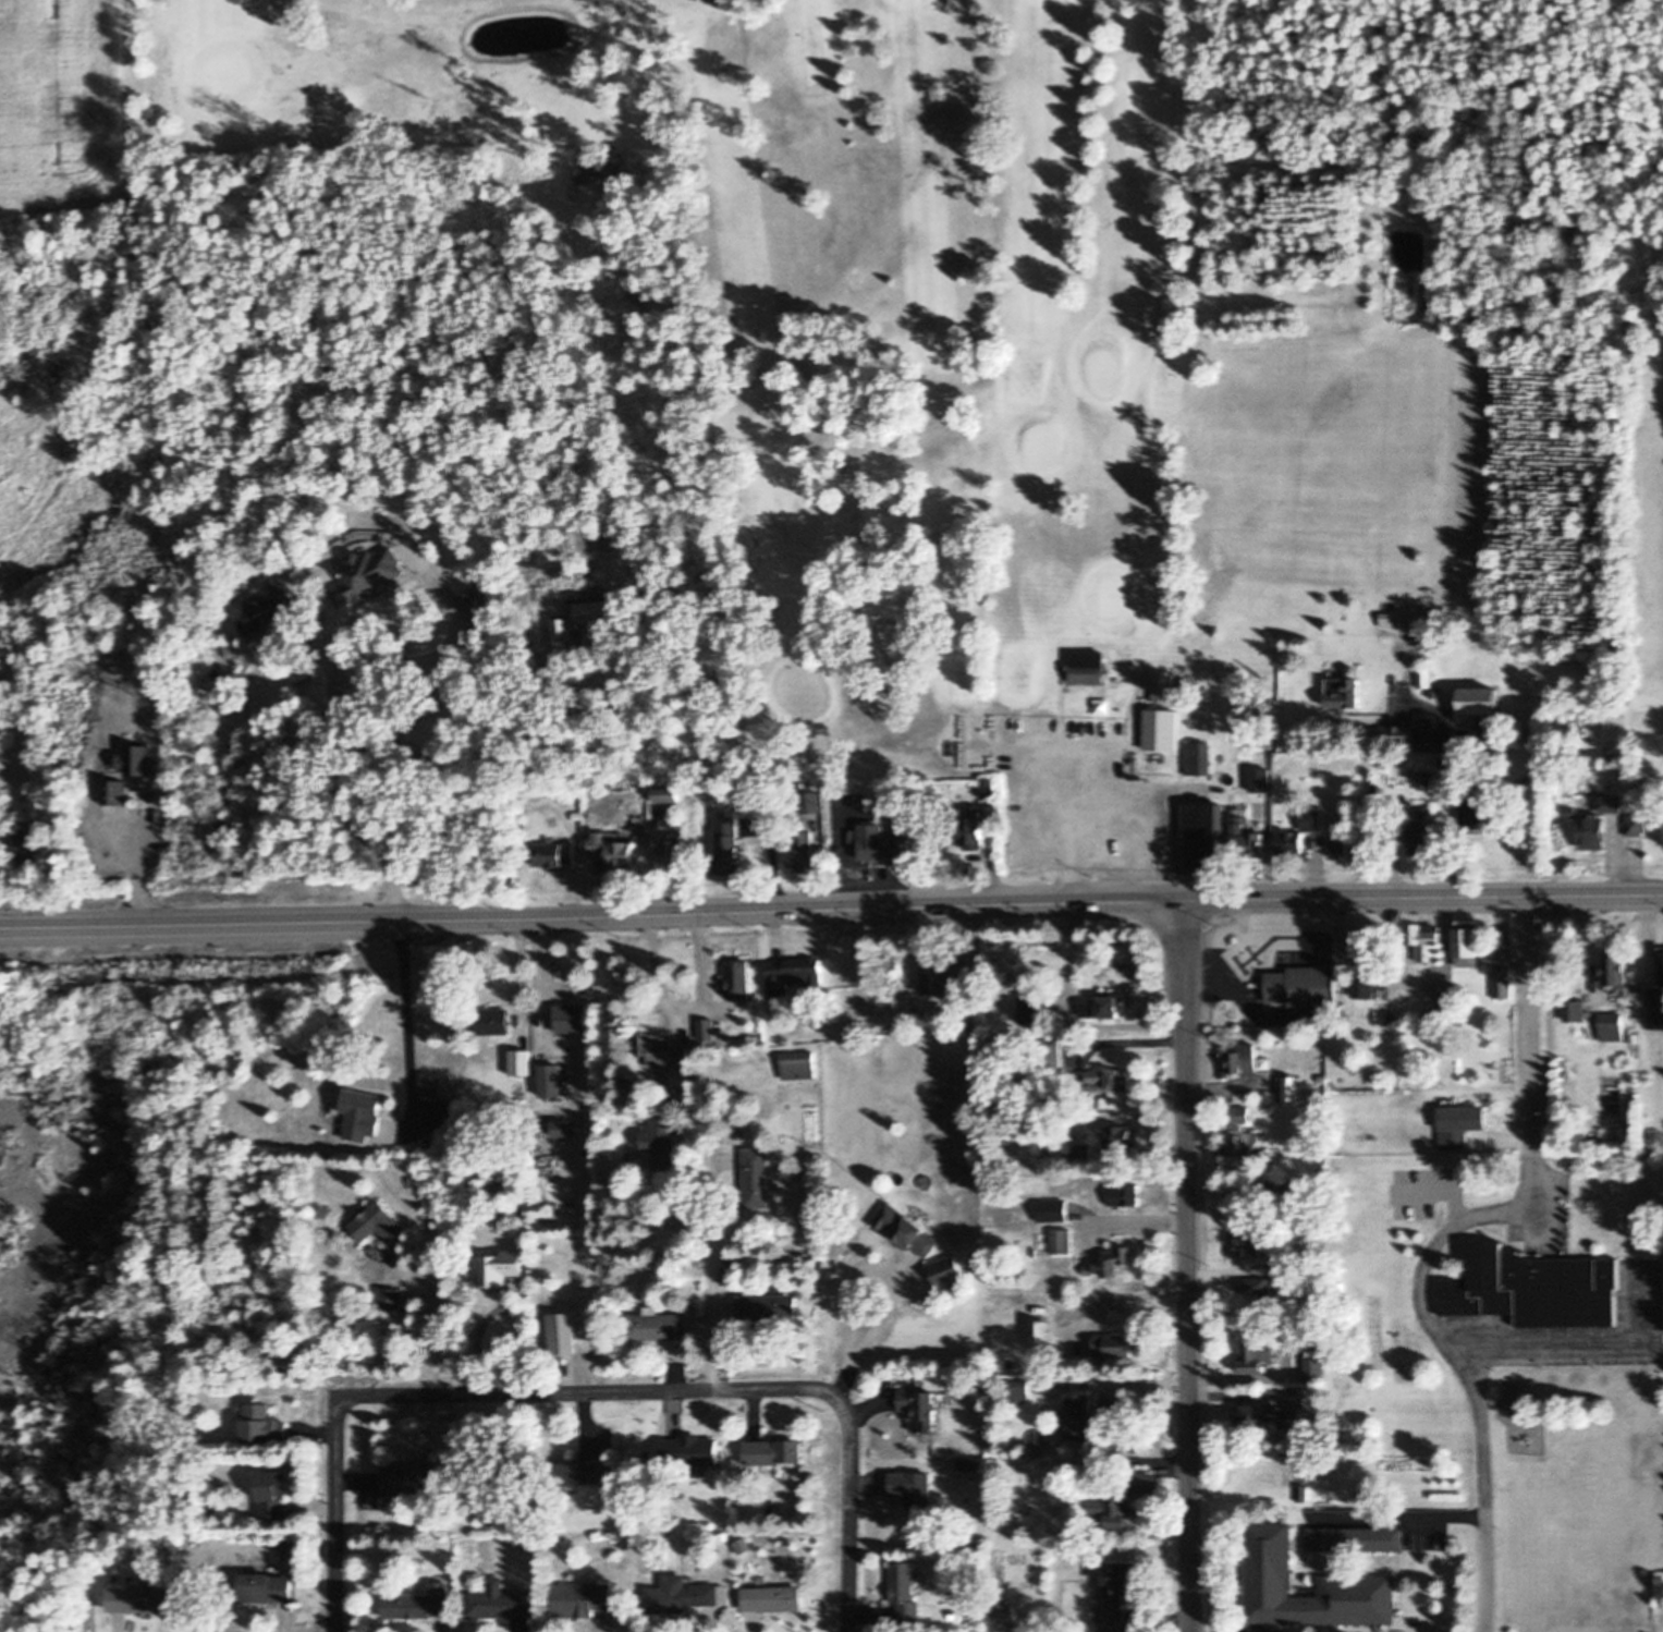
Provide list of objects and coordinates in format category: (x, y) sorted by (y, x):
building: (1409, 231)
park: (855, 333)
building: (25, 489)
building: (372, 575)
building: (477, 604)
road: (450, 608)
building: (267, 610)
building: (580, 619)
building: (1652, 628)
building: (1089, 666)
building: (1354, 670)
building: (210, 681)
building: (1427, 681)
building: (1163, 685)
building: (1344, 694)
building: (209, 698)
building: (1479, 699)
building: (228, 711)
road: (326, 722)
building: (1166, 727)
building: (1397, 732)
building: (1426, 735)
building: (198, 752)
building: (1198, 757)
building: (136, 759)
building: (970, 759)
building: (1421, 778)
road: (1459, 781)
building: (989, 788)
building: (115, 791)
building: (667, 793)
building: (792, 793)
building: (152, 794)
building: (810, 801)
building: (1611, 803)
building: (1587, 804)
building: (1485, 811)
building: (1593, 813)
building: (623, 817)
building: (1312, 819)
building: (707, 823)
building: (1636, 824)
road: (1099, 825)
building: (973, 829)
building: (1593, 832)
building: (1206, 838)
building: (1247, 838)
building: (1419, 838)
building: (888, 841)
building: (1291, 842)
building: (1342, 844)
building: (23, 845)
building: (731, 845)
building: (613, 849)
building: (803, 851)
building: (554, 853)
building: (669, 854)
road: (134, 867)
building: (671, 868)
road: (944, 908)
road: (112, 926)
building: (1426, 939)
building: (1371, 946)
building: (1467, 946)
building: (999, 954)
building: (1661, 963)
building: (1616, 969)
building: (793, 974)
building: (739, 977)
building: (944, 979)
building: (1502, 983)
building: (1365, 984)
building: (1303, 985)
building: (1612, 986)
building: (1643, 995)
building: (1030, 1004)
building: (1654, 1004)
road: (677, 1006)
building: (1101, 1007)
building: (1575, 1007)
building: (1446, 1008)
building: (966, 1015)
building: (572, 1018)
building: (1391, 1018)
building: (493, 1021)
road: (409, 1022)
building: (1462, 1024)
building: (1613, 1026)
building: (707, 1028)
building: (875, 1028)
road: (1129, 1036)
building: (1634, 1038)
building: (998, 1039)
building: (662, 1049)
building: (1624, 1049)
building: (1050, 1051)
building: (1243, 1059)
building: (519, 1060)
building: (798, 1064)
building: (1265, 1064)
building: (591, 1068)
building: (1607, 1070)
building: (1111, 1077)
building: (1322, 1077)
building: (551, 1080)
building: (1087, 1083)
building: (432, 1084)
building: (1289, 1087)
building: (1445, 1100)
building: (344, 1105)
building: (365, 1112)
building: (1242, 1115)
building: (1591, 1115)
building: (704, 1116)
building: (1602, 1119)
building: (1460, 1122)
building: (1597, 1125)
building: (561, 1128)
building: (741, 1132)
building: (1122, 1136)
building: (429, 1142)
building: (661, 1142)
building: (1238, 1152)
building: (1084, 1153)
building: (967, 1169)
building: (756, 1177)
building: (773, 1184)
building: (217, 1189)
building: (1282, 1190)
building: (1125, 1194)
building: (514, 1209)
building: (1053, 1209)
building: (918, 1213)
road: (1139, 1215)
building: (376, 1223)
building: (907, 1228)
building: (340, 1231)
building: (1044, 1240)
building: (1063, 1241)
building: (1247, 1242)
road: (1439, 1242)
building: (1036, 1252)
building: (1110, 1260)
road: (1189, 1266)
building: (499, 1268)
building: (947, 1269)
road: (886, 1270)
building: (726, 1275)
road: (710, 1276)
building: (1255, 1286)
building: (1537, 1288)
building: (390, 1299)
building: (693, 1304)
building: (768, 1306)
building: (307, 1307)
road: (435, 1311)
building: (655, 1325)
building: (563, 1332)
building: (1041, 1333)
building: (1114, 1345)
building: (1257, 1354)
building: (1314, 1368)
road: (1114, 1384)
building: (1019, 1389)
road: (590, 1392)
building: (979, 1394)
building: (920, 1409)
building: (243, 1413)
building: (1080, 1415)
building: (1267, 1415)
building: (262, 1423)
building: (1037, 1438)
building: (1128, 1438)
building: (692, 1451)
building: (773, 1451)
building: (1271, 1458)
building: (969, 1463)
building: (697, 1466)
building: (790, 1467)
building: (589, 1471)
building: (413, 1478)
building: (1142, 1481)
building: (565, 1487)
building: (914, 1487)
building: (271, 1493)
building: (1303, 1493)
building: (1110, 1508)
road: (851, 1515)
road: (338, 1520)
building: (724, 1535)
building: (1355, 1538)
building: (980, 1544)
building: (744, 1545)
building: (285, 1546)
building: (1269, 1548)
building: (1030, 1586)
building: (265, 1587)
building: (905, 1590)
building: (681, 1594)
building: (723, 1594)
building: (1114, 1596)
building: (583, 1597)
building: (772, 1597)
building: (137, 1599)
building: (498, 1600)
building: (419, 1603)
building: (1005, 1608)
building: (954, 1615)

